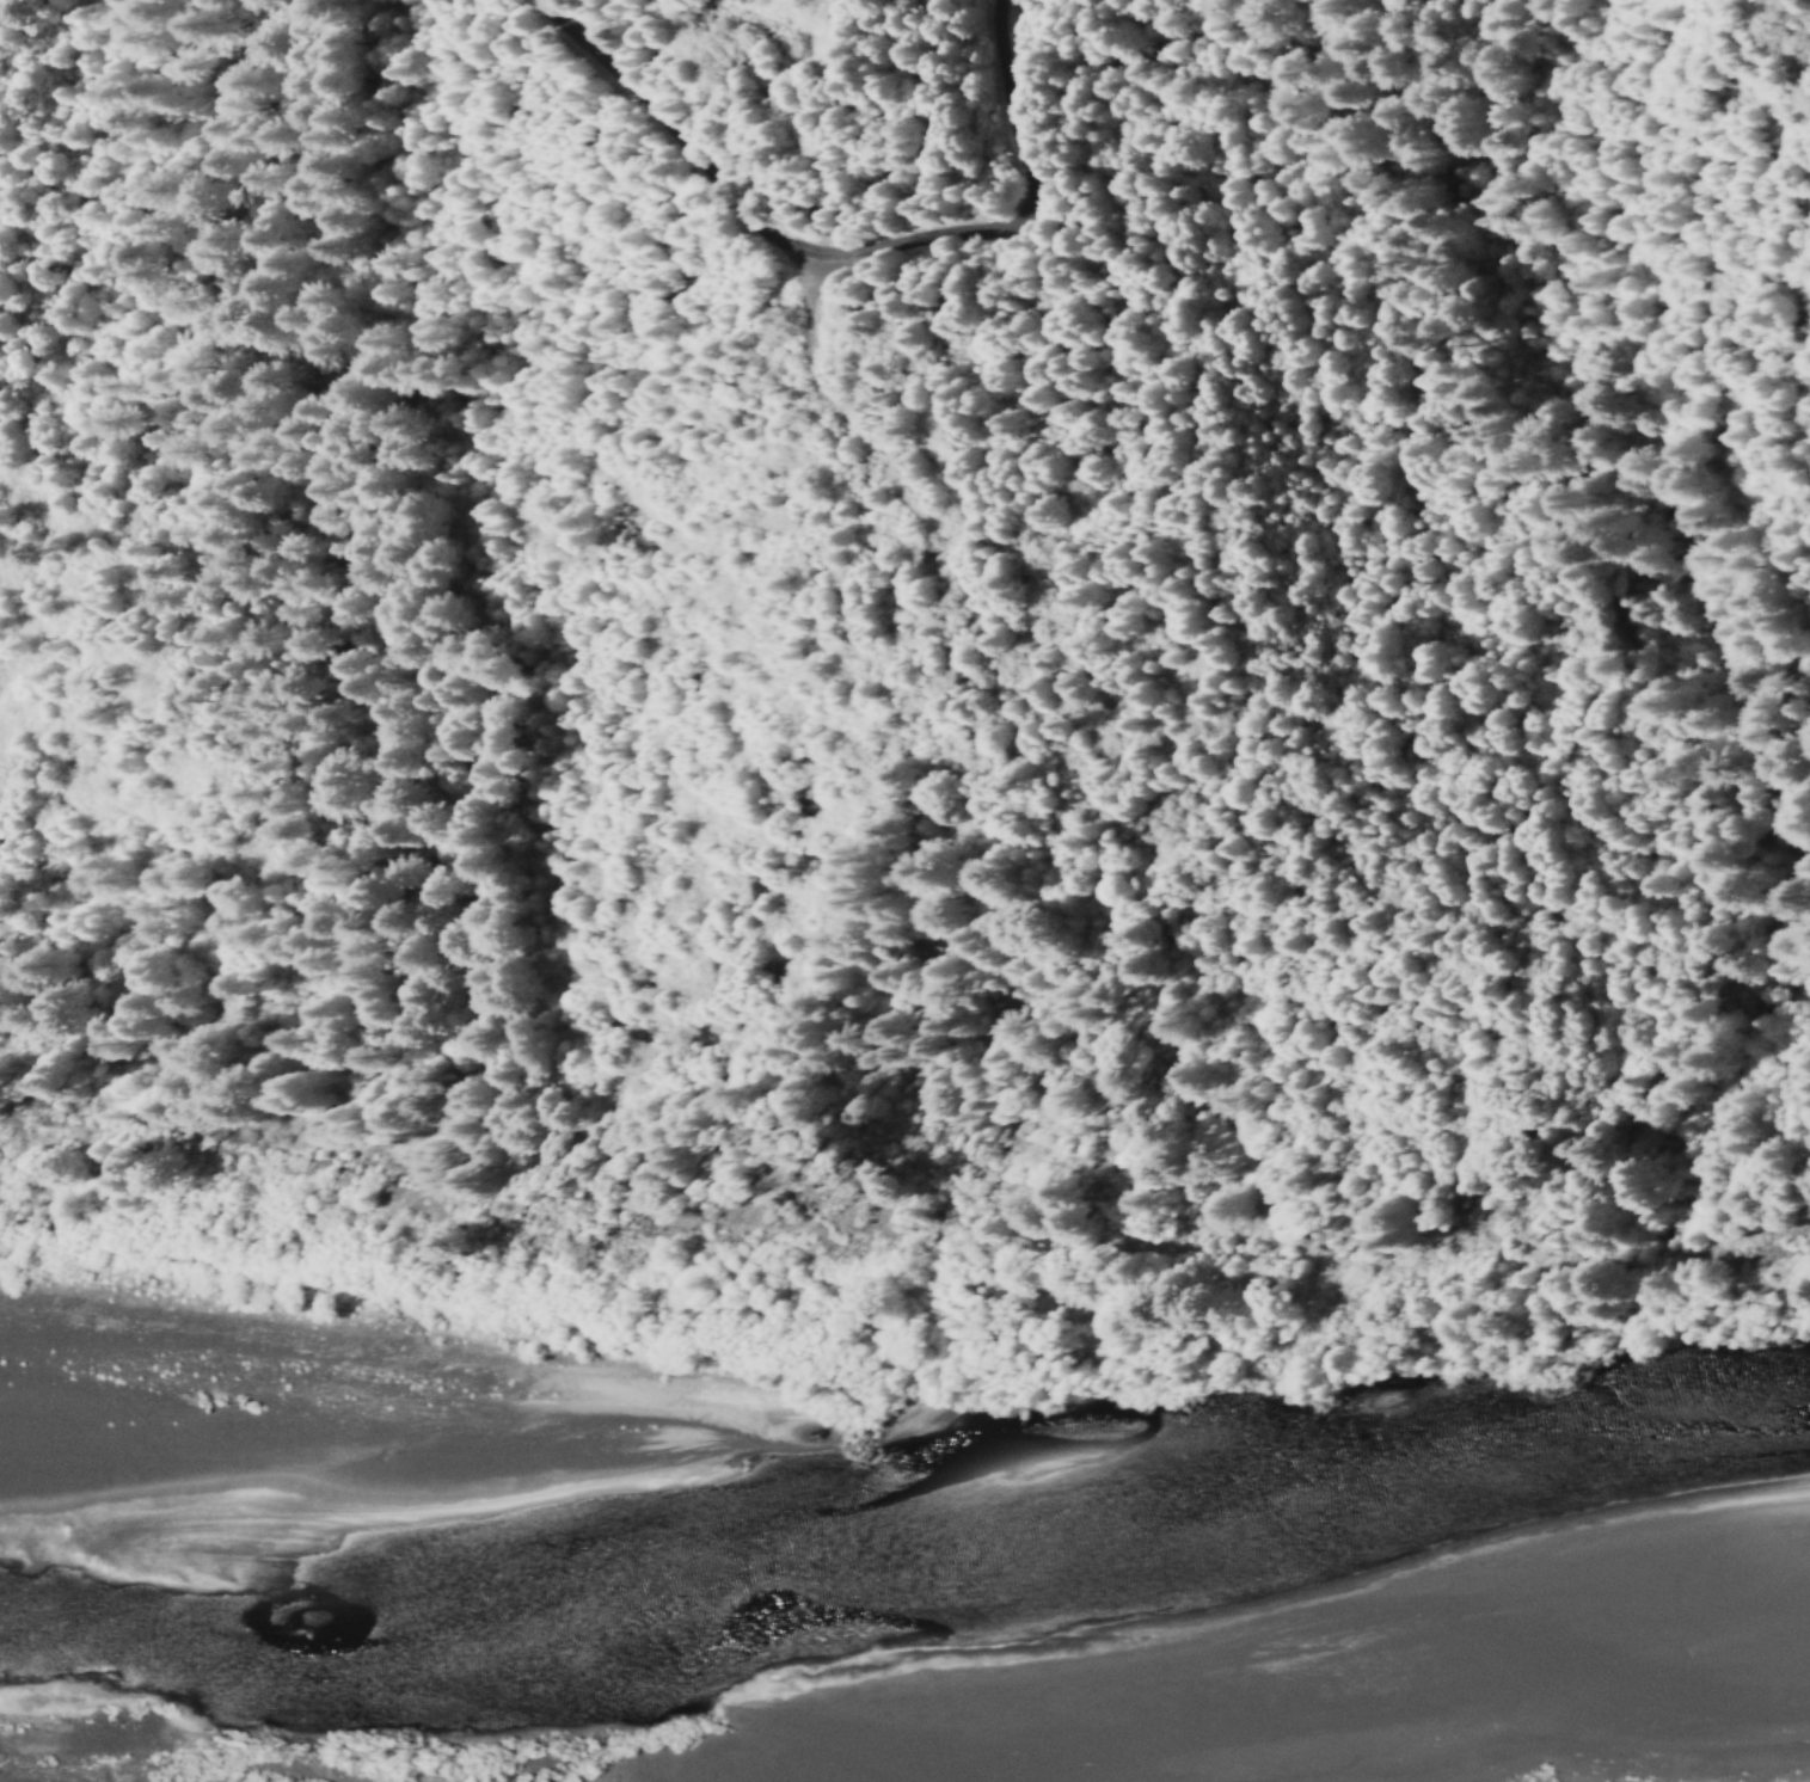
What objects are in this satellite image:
road: (1783, 26)
road: (881, 247)
railway: (896, 1235)
river: (1725, 1488)
river: (746, 1572)

